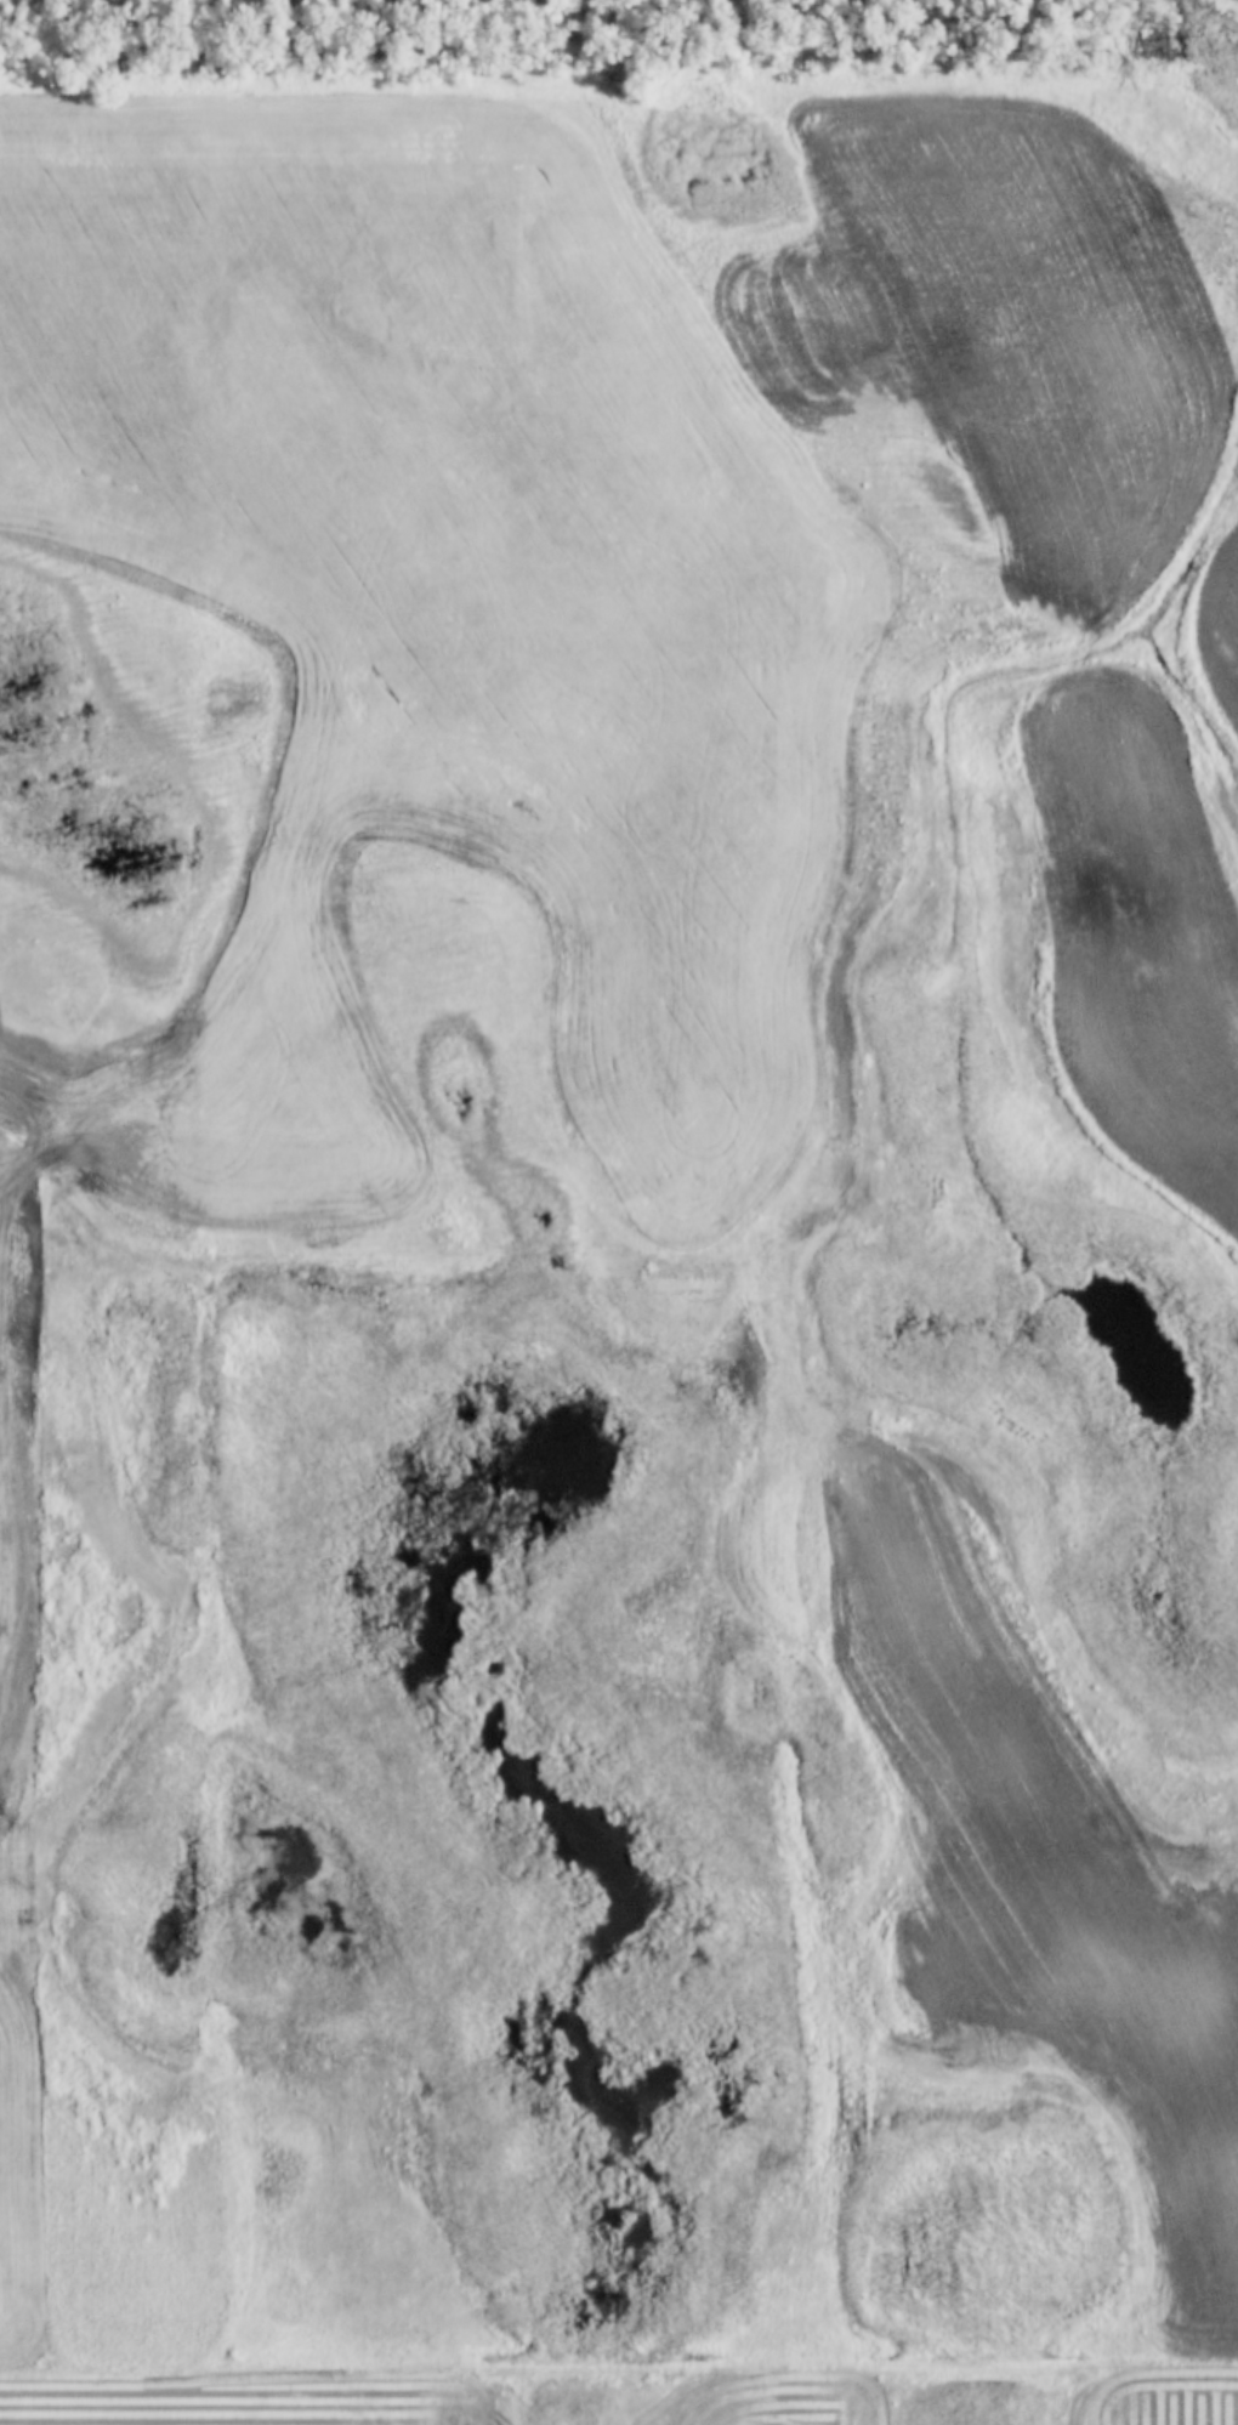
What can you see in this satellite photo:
road: (937, 2370)

